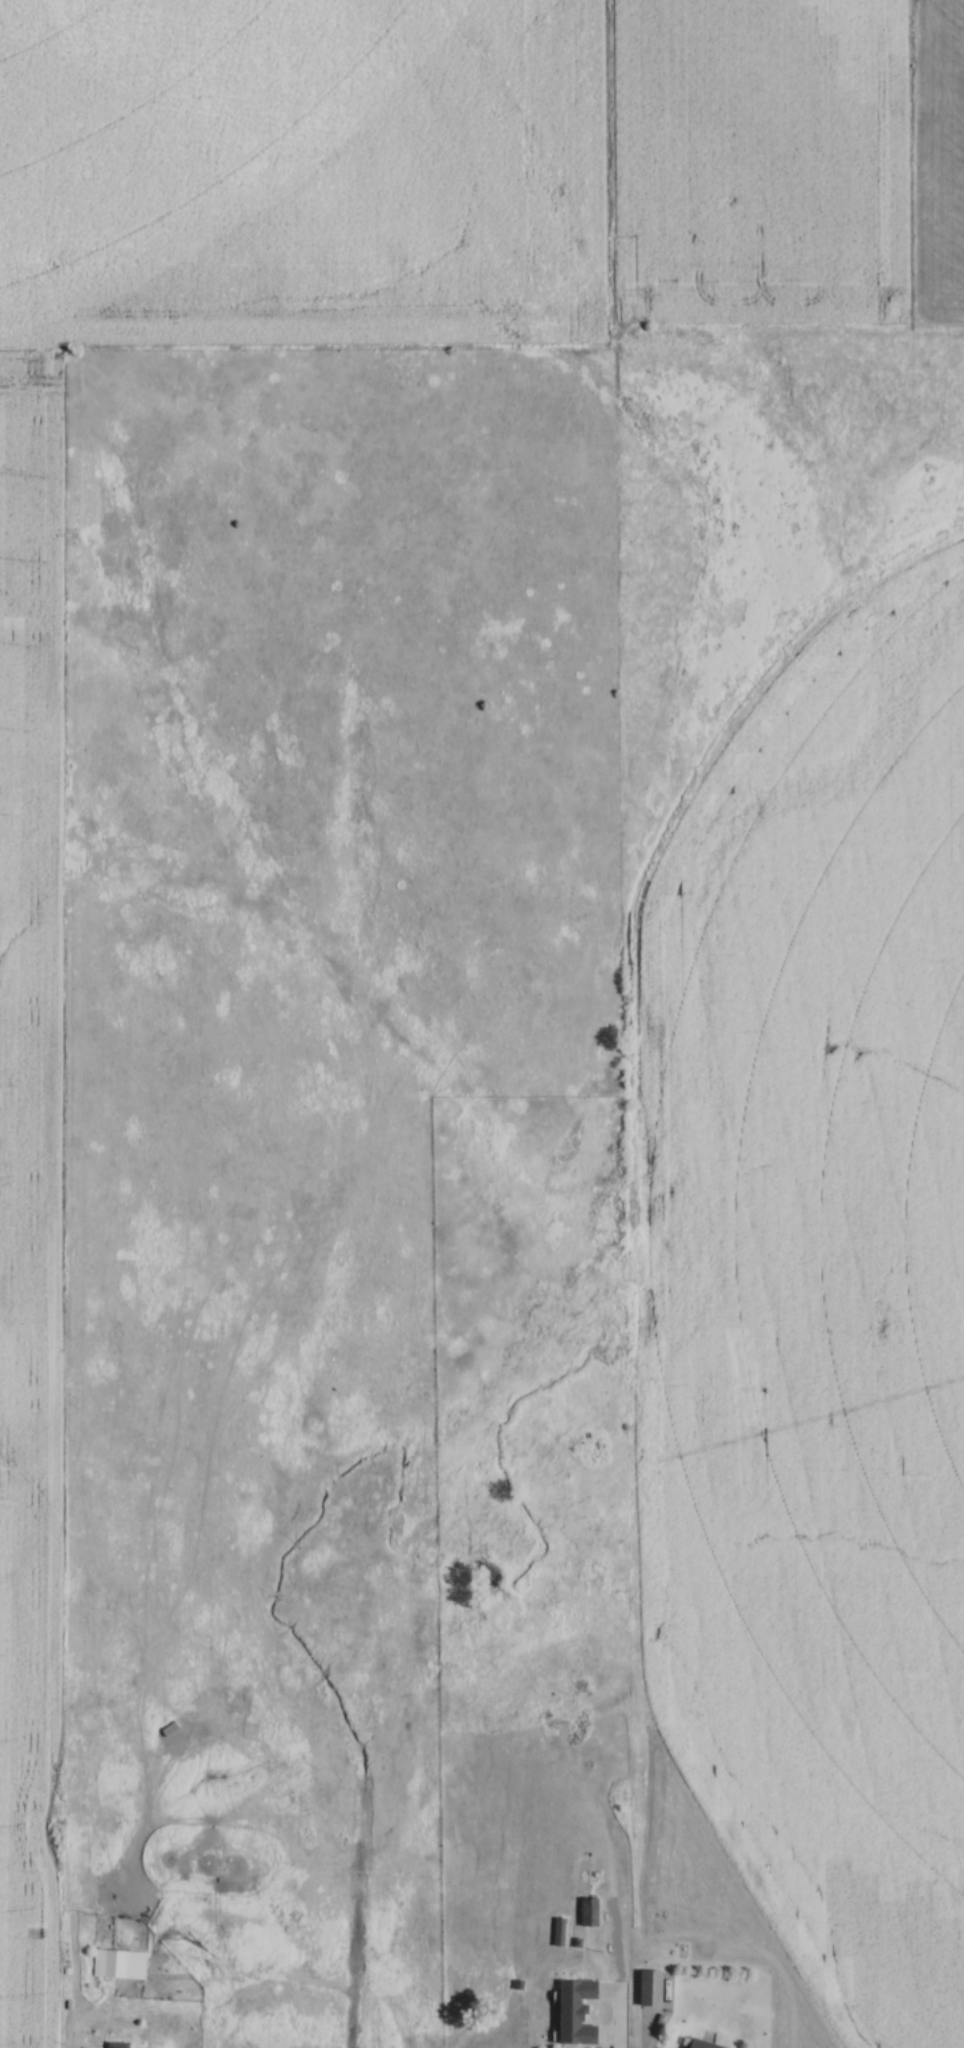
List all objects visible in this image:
building: (171, 1745)
building: (588, 1911)
building: (558, 1931)
building: (117, 1963)
building: (648, 1988)
building: (575, 2012)
road: (614, 2022)
building: (116, 2044)
building: (701, 2044)

